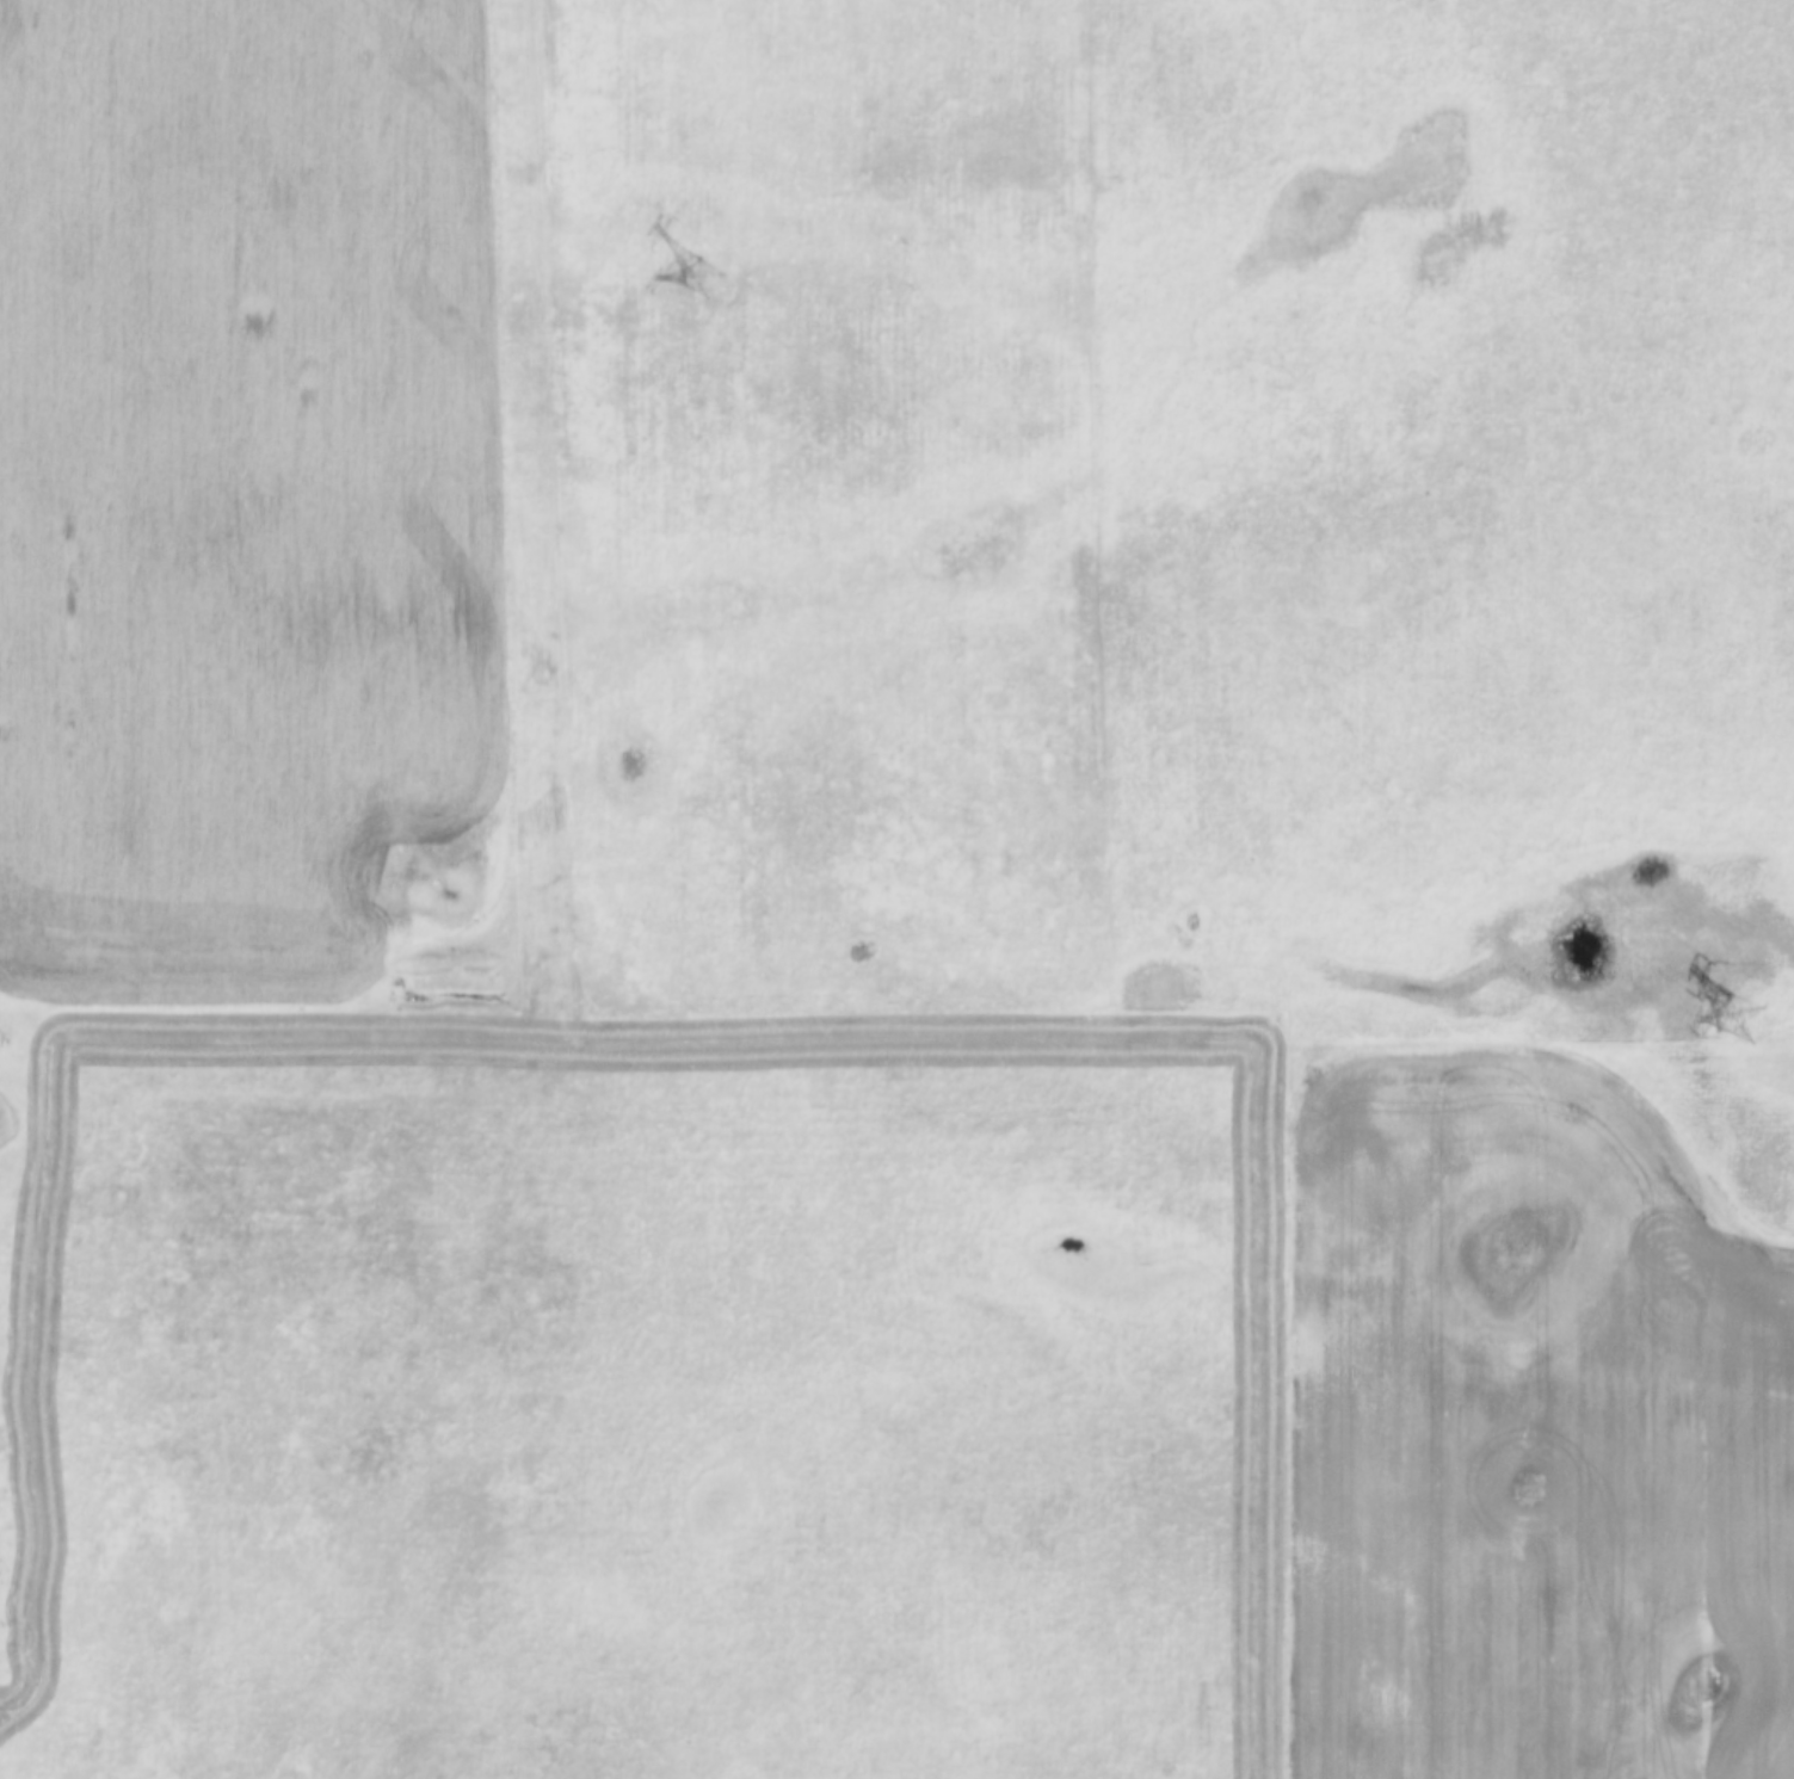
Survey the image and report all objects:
power tower: (690, 282)
power tower: (1747, 1029)

